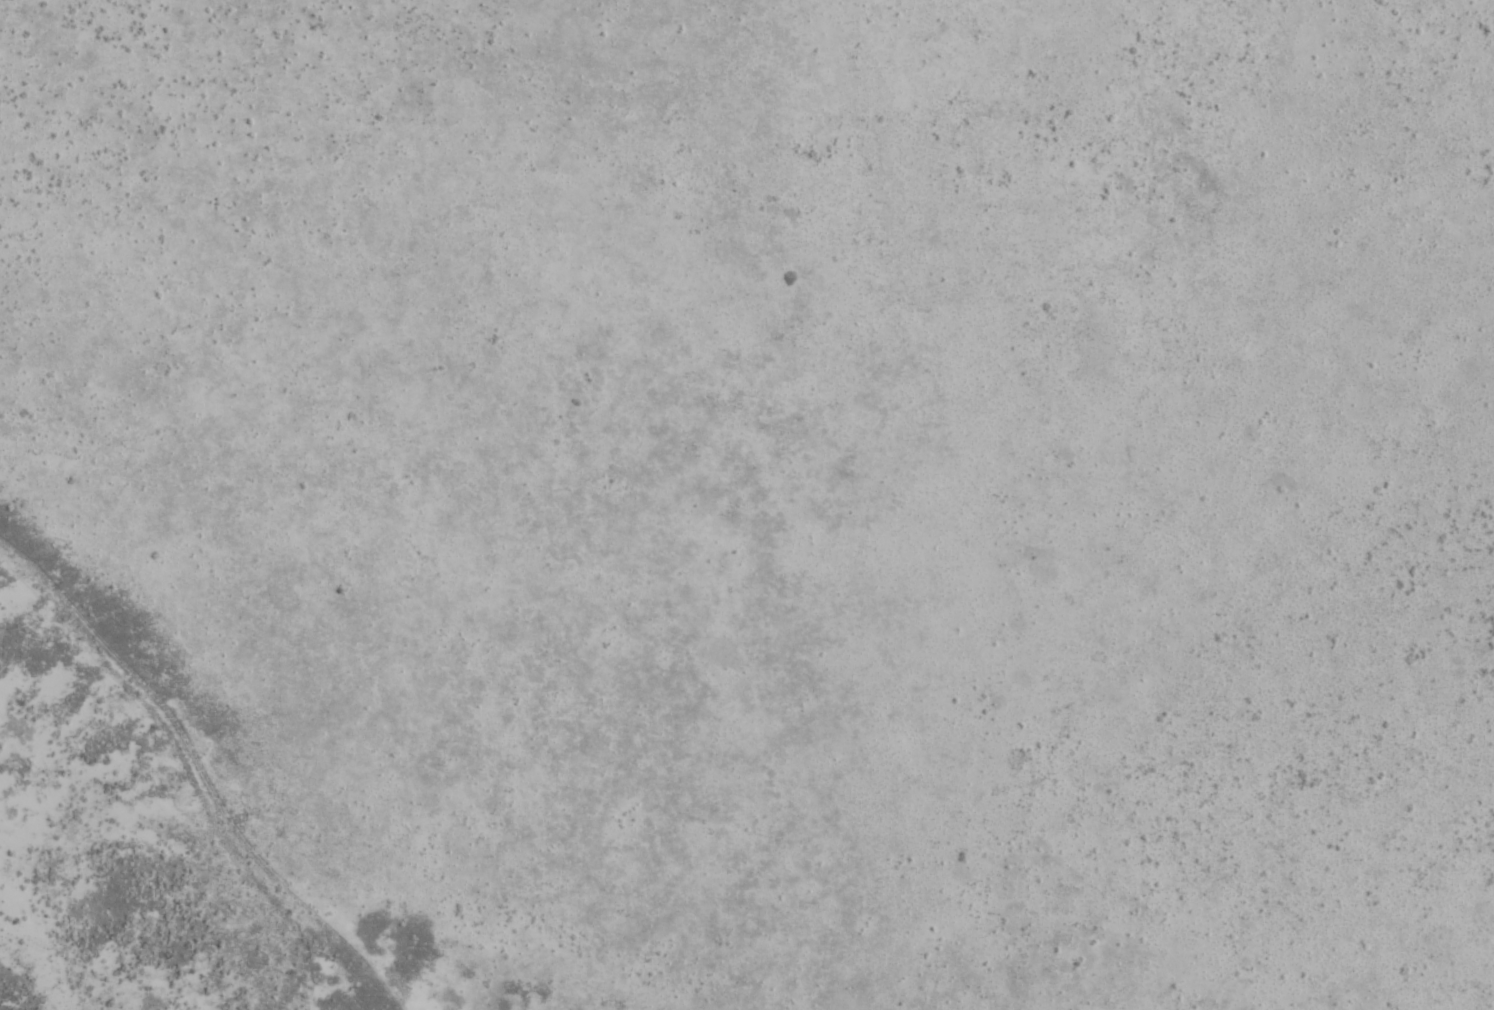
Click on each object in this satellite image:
road: (210, 770)

